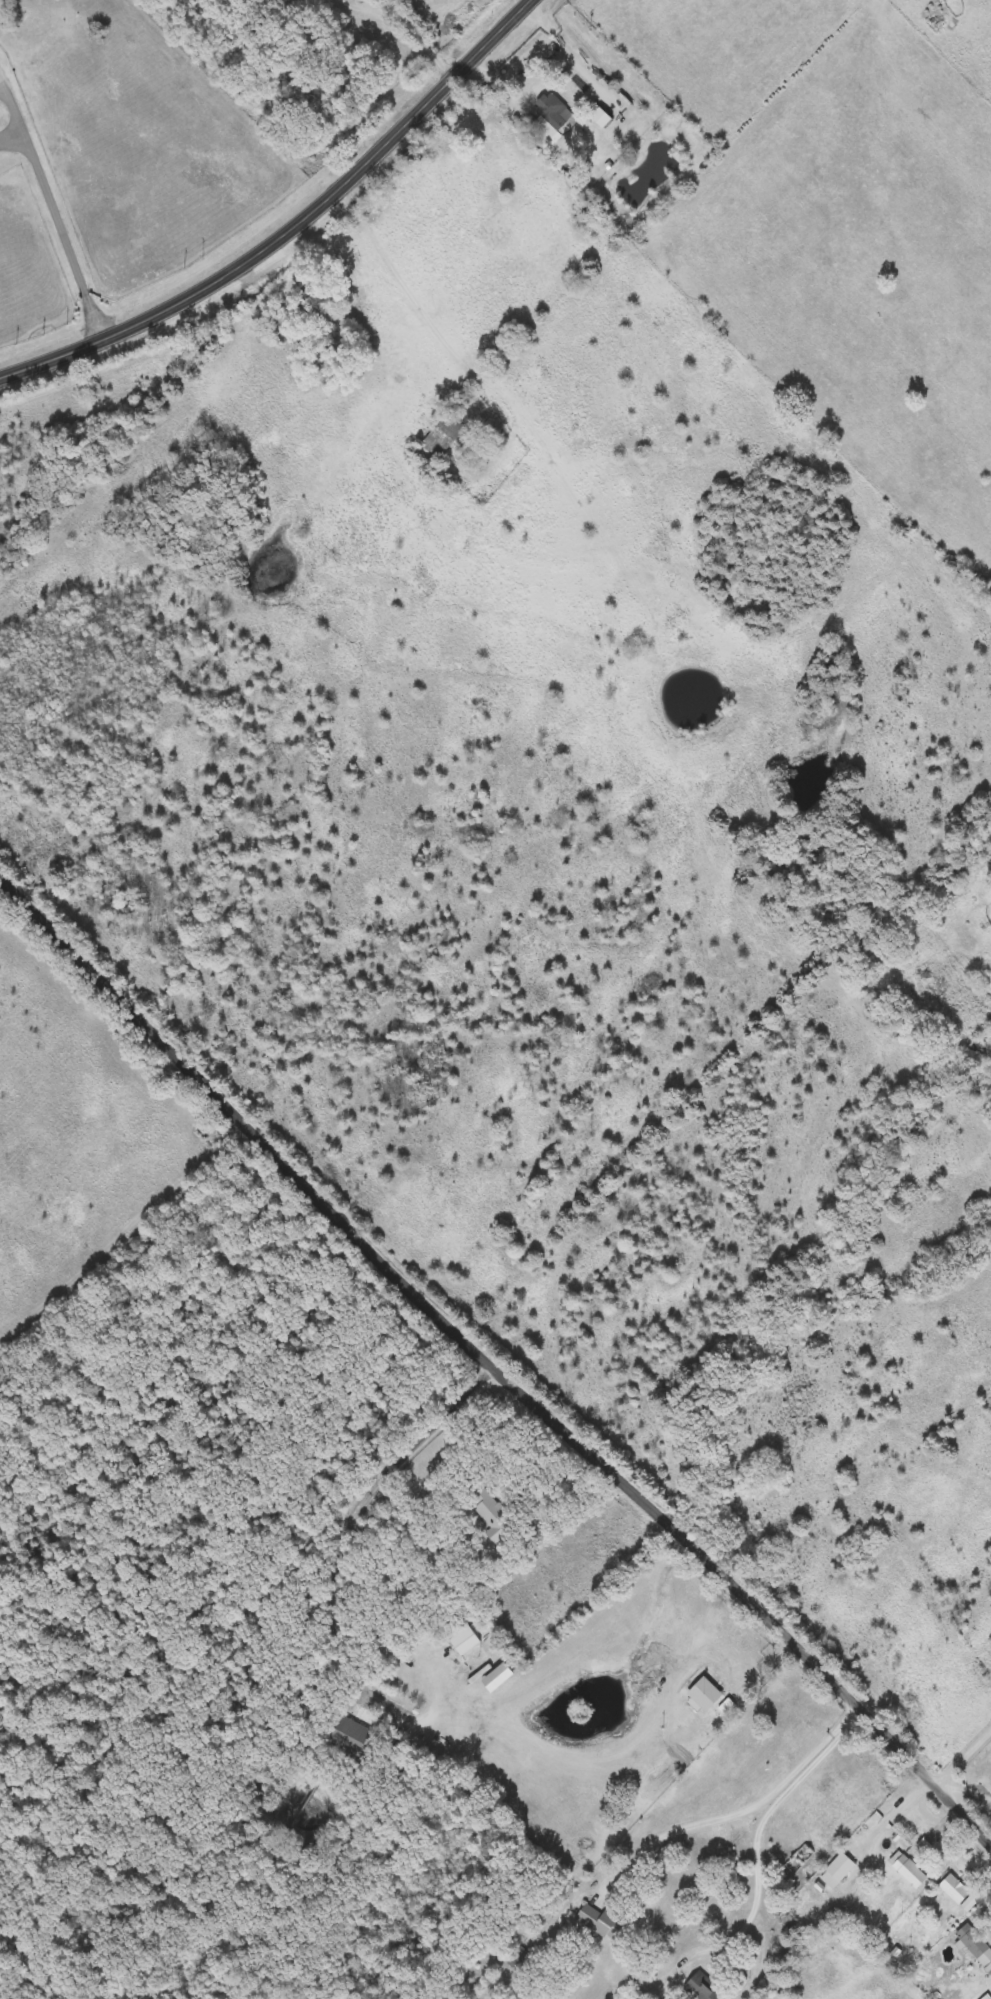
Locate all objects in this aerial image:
road: (363, 3)
road: (421, 37)
road: (505, 84)
building: (552, 114)
road: (64, 227)
road: (297, 229)
road: (394, 268)
road: (281, 298)
building: (445, 435)
road: (990, 848)
road: (491, 1363)
building: (491, 1514)
road: (351, 1518)
building: (459, 1636)
road: (749, 1674)
building: (351, 1738)
road: (963, 1755)
road: (968, 1786)
road: (739, 1807)
road: (760, 1869)
building: (908, 1871)
building: (837, 1872)
building: (955, 1890)
building: (600, 1923)
building: (976, 1947)
building: (703, 1987)
building: (974, 1990)

